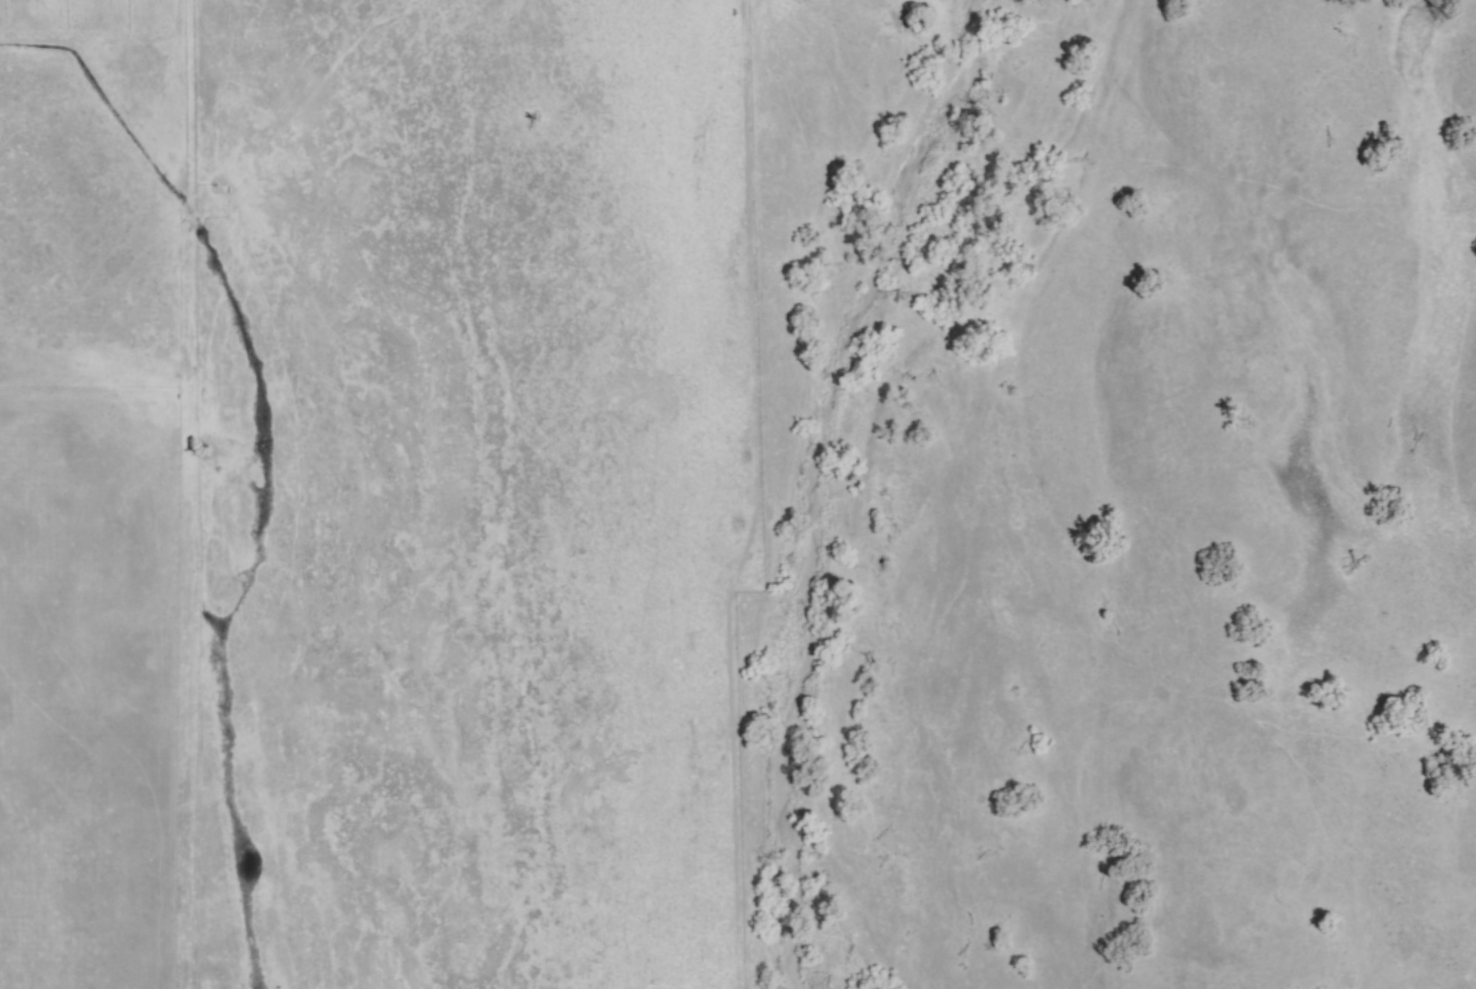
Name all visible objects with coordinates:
crop: (385, 483)
crop: (1242, 500)

